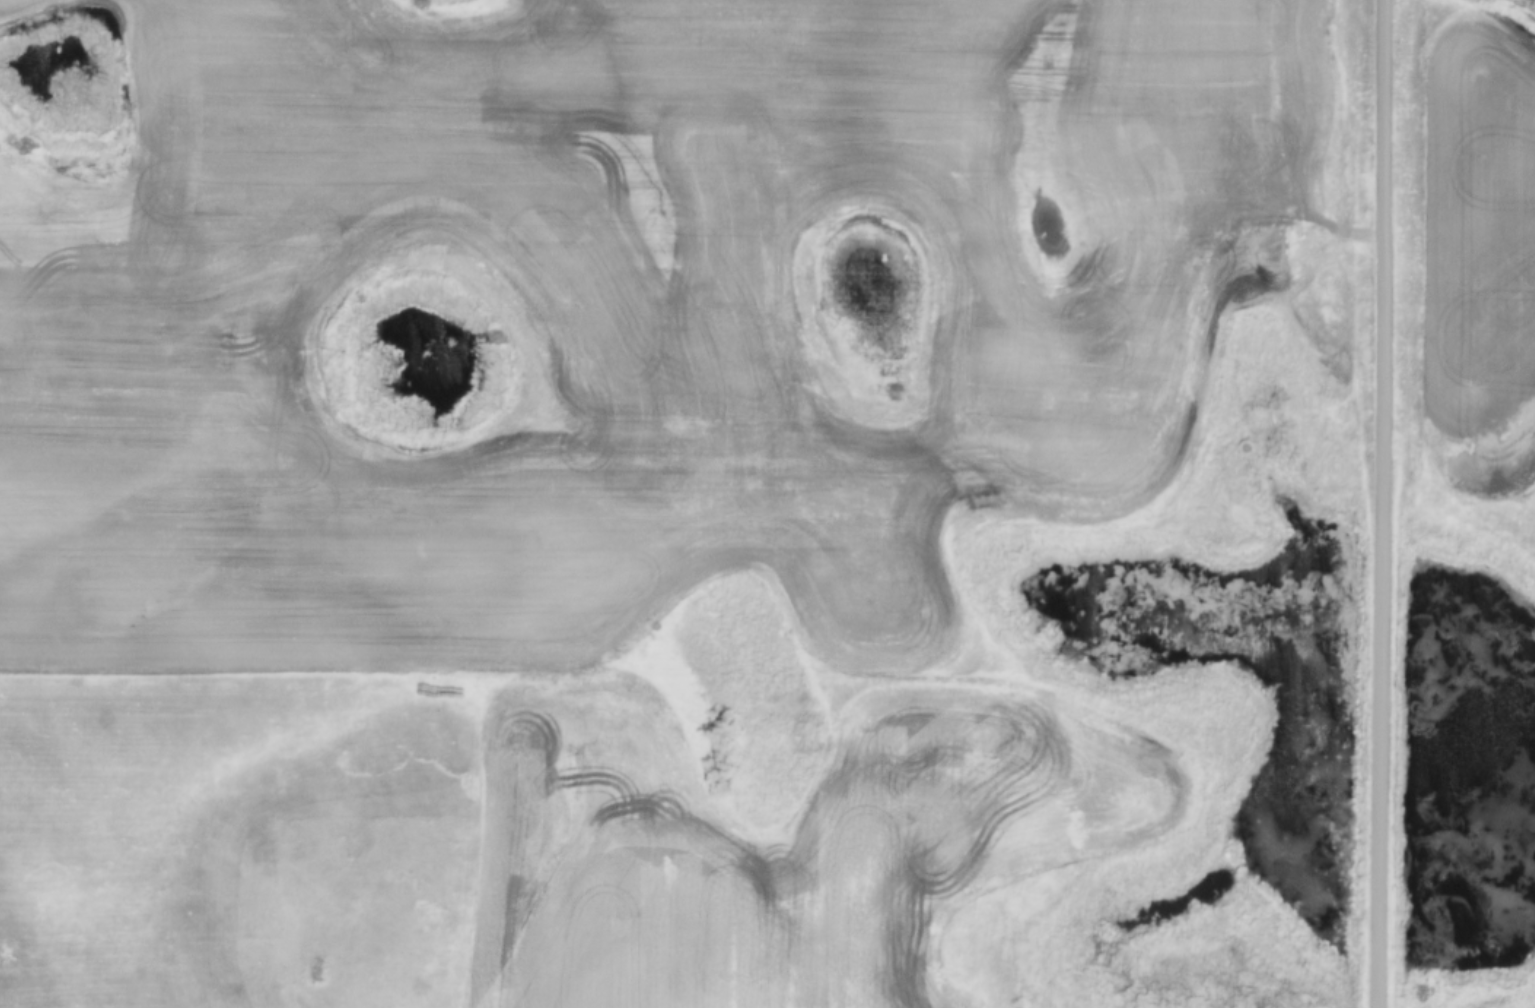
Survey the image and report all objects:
road: (1385, 504)

